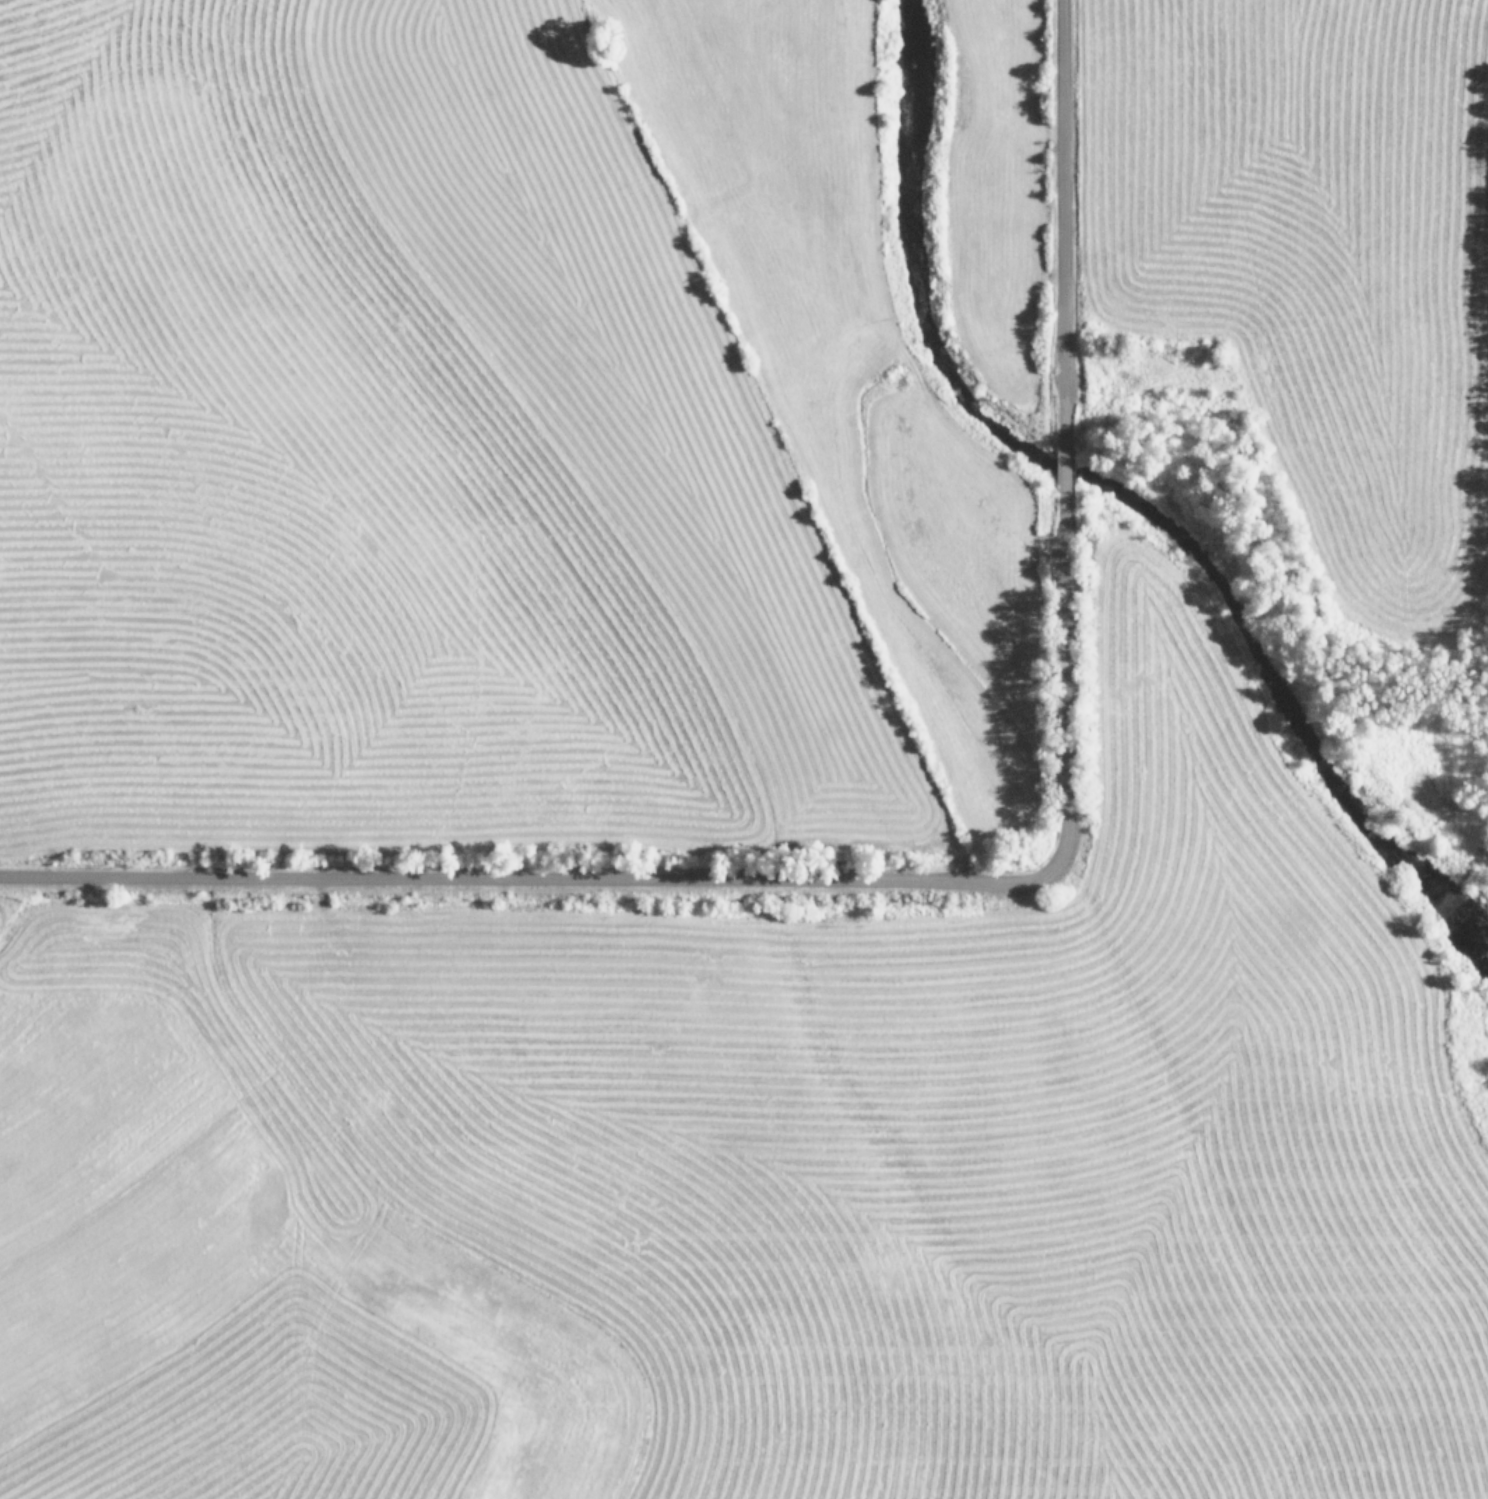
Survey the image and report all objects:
parking lot: (1304, 253)
road: (873, 307)
crop: (473, 445)
road: (967, 884)
crop: (107, 1048)
crop: (827, 1175)

